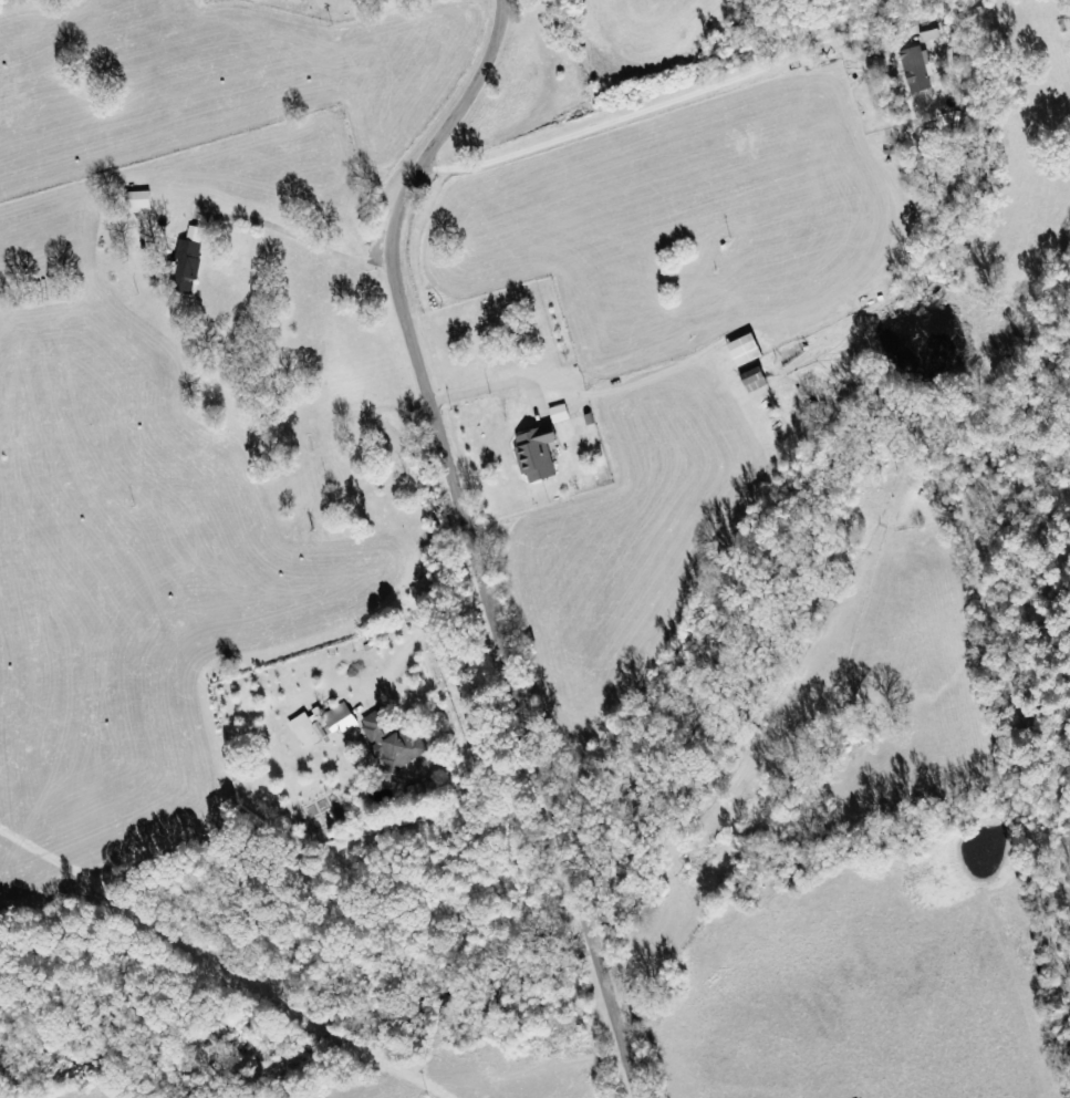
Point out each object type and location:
building: (920, 69)
building: (142, 200)
building: (189, 262)
building: (749, 350)
building: (758, 381)
building: (562, 414)
building: (539, 457)
road: (472, 540)
building: (310, 732)
building: (394, 742)

